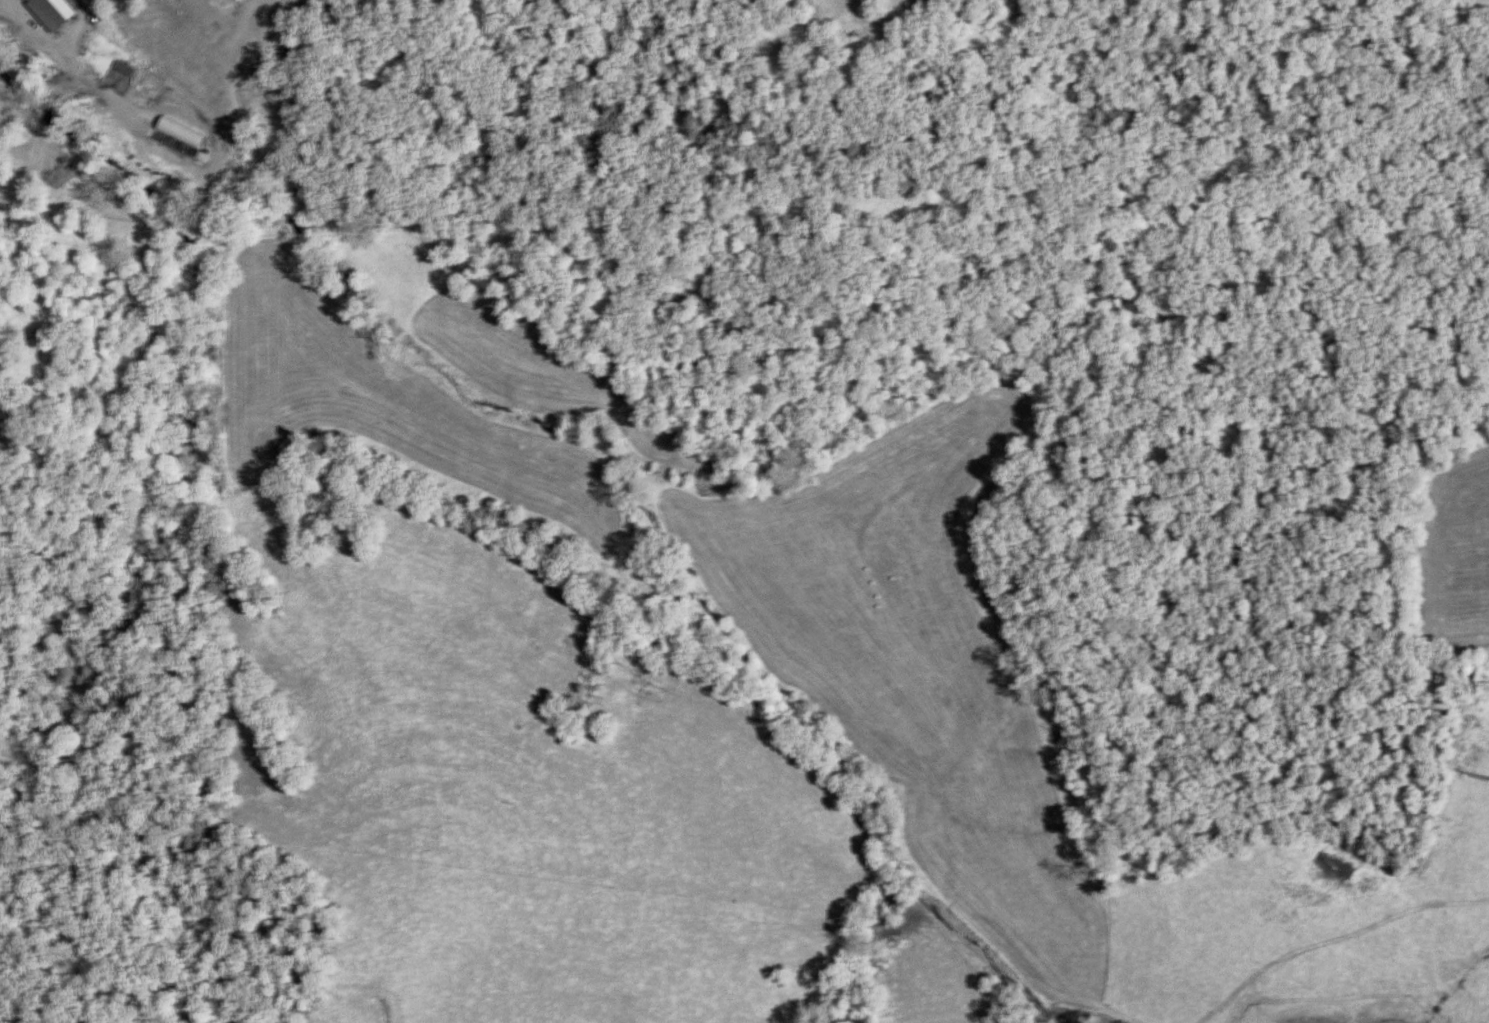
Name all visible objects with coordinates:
building: (54, 13)

